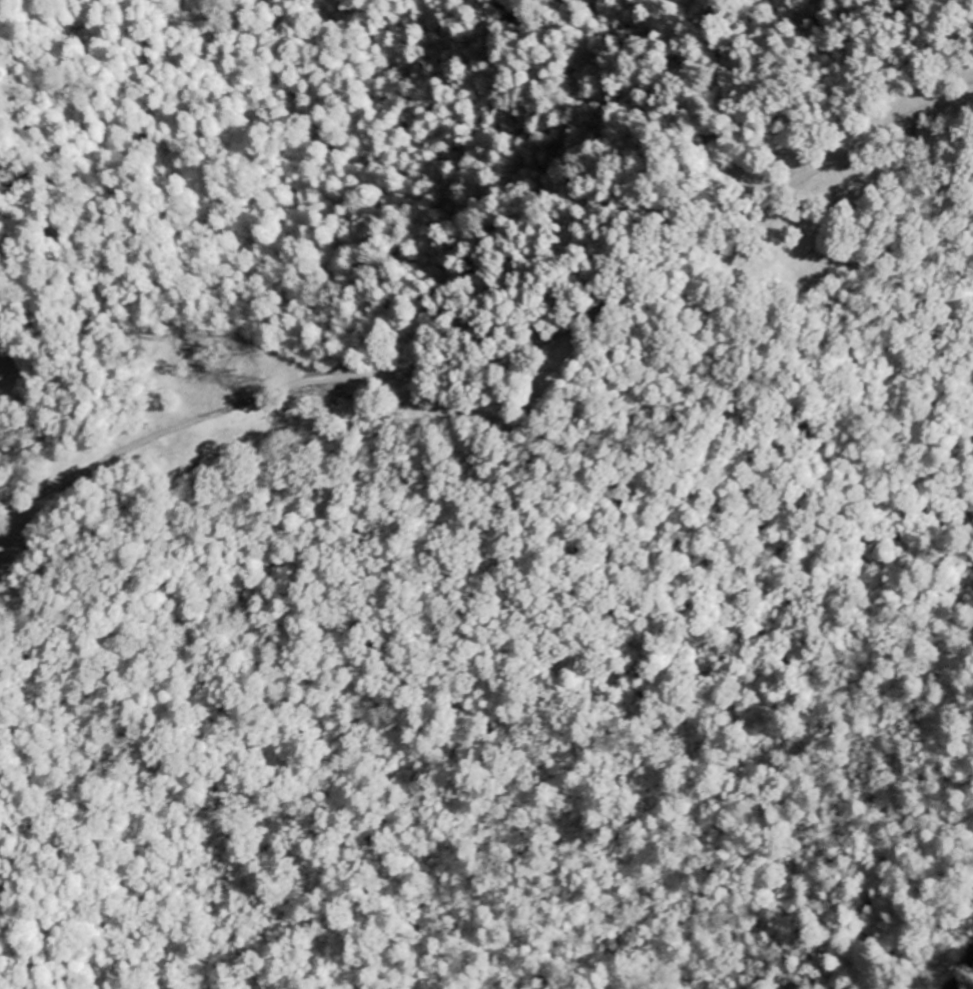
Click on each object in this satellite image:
road: (514, 360)

